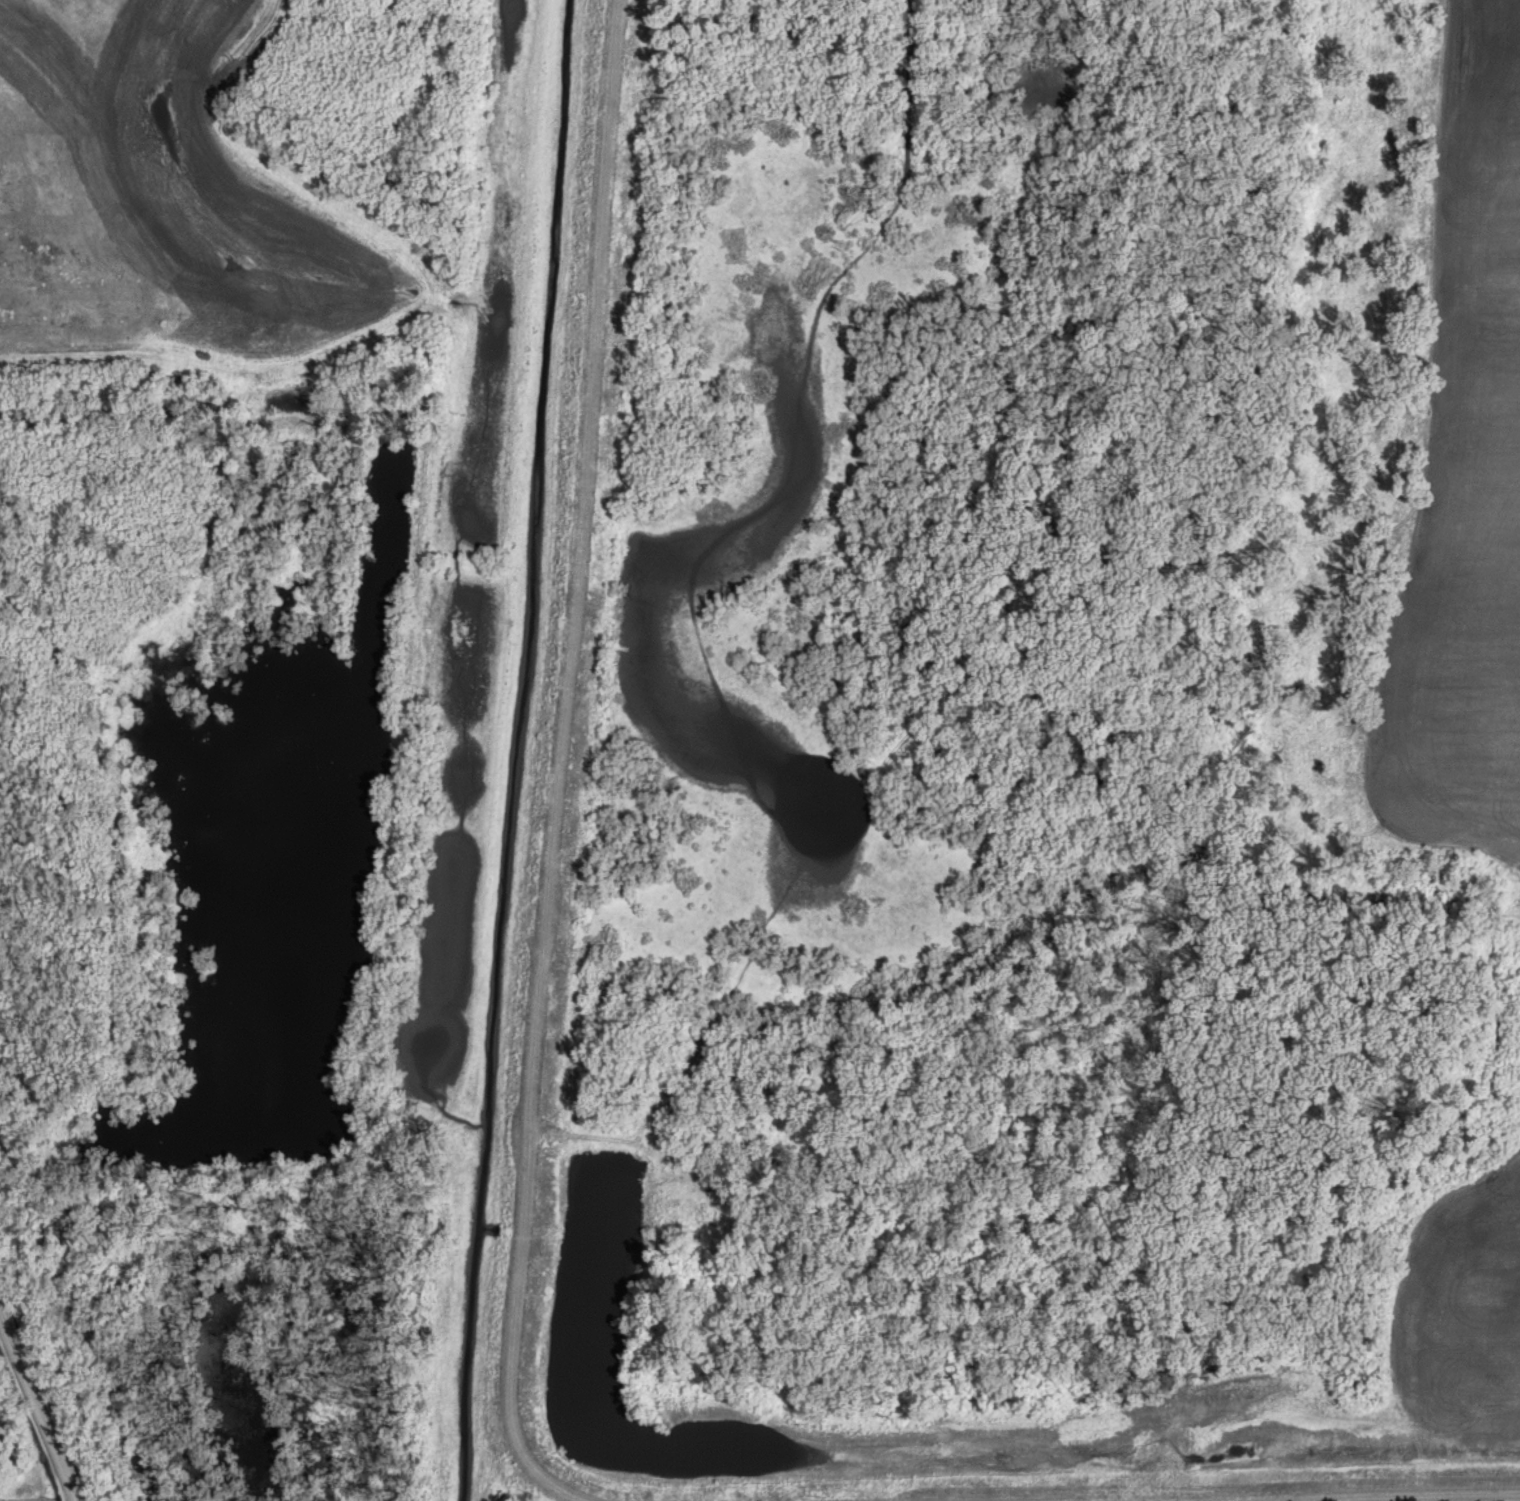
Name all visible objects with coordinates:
road: (39, 1406)

